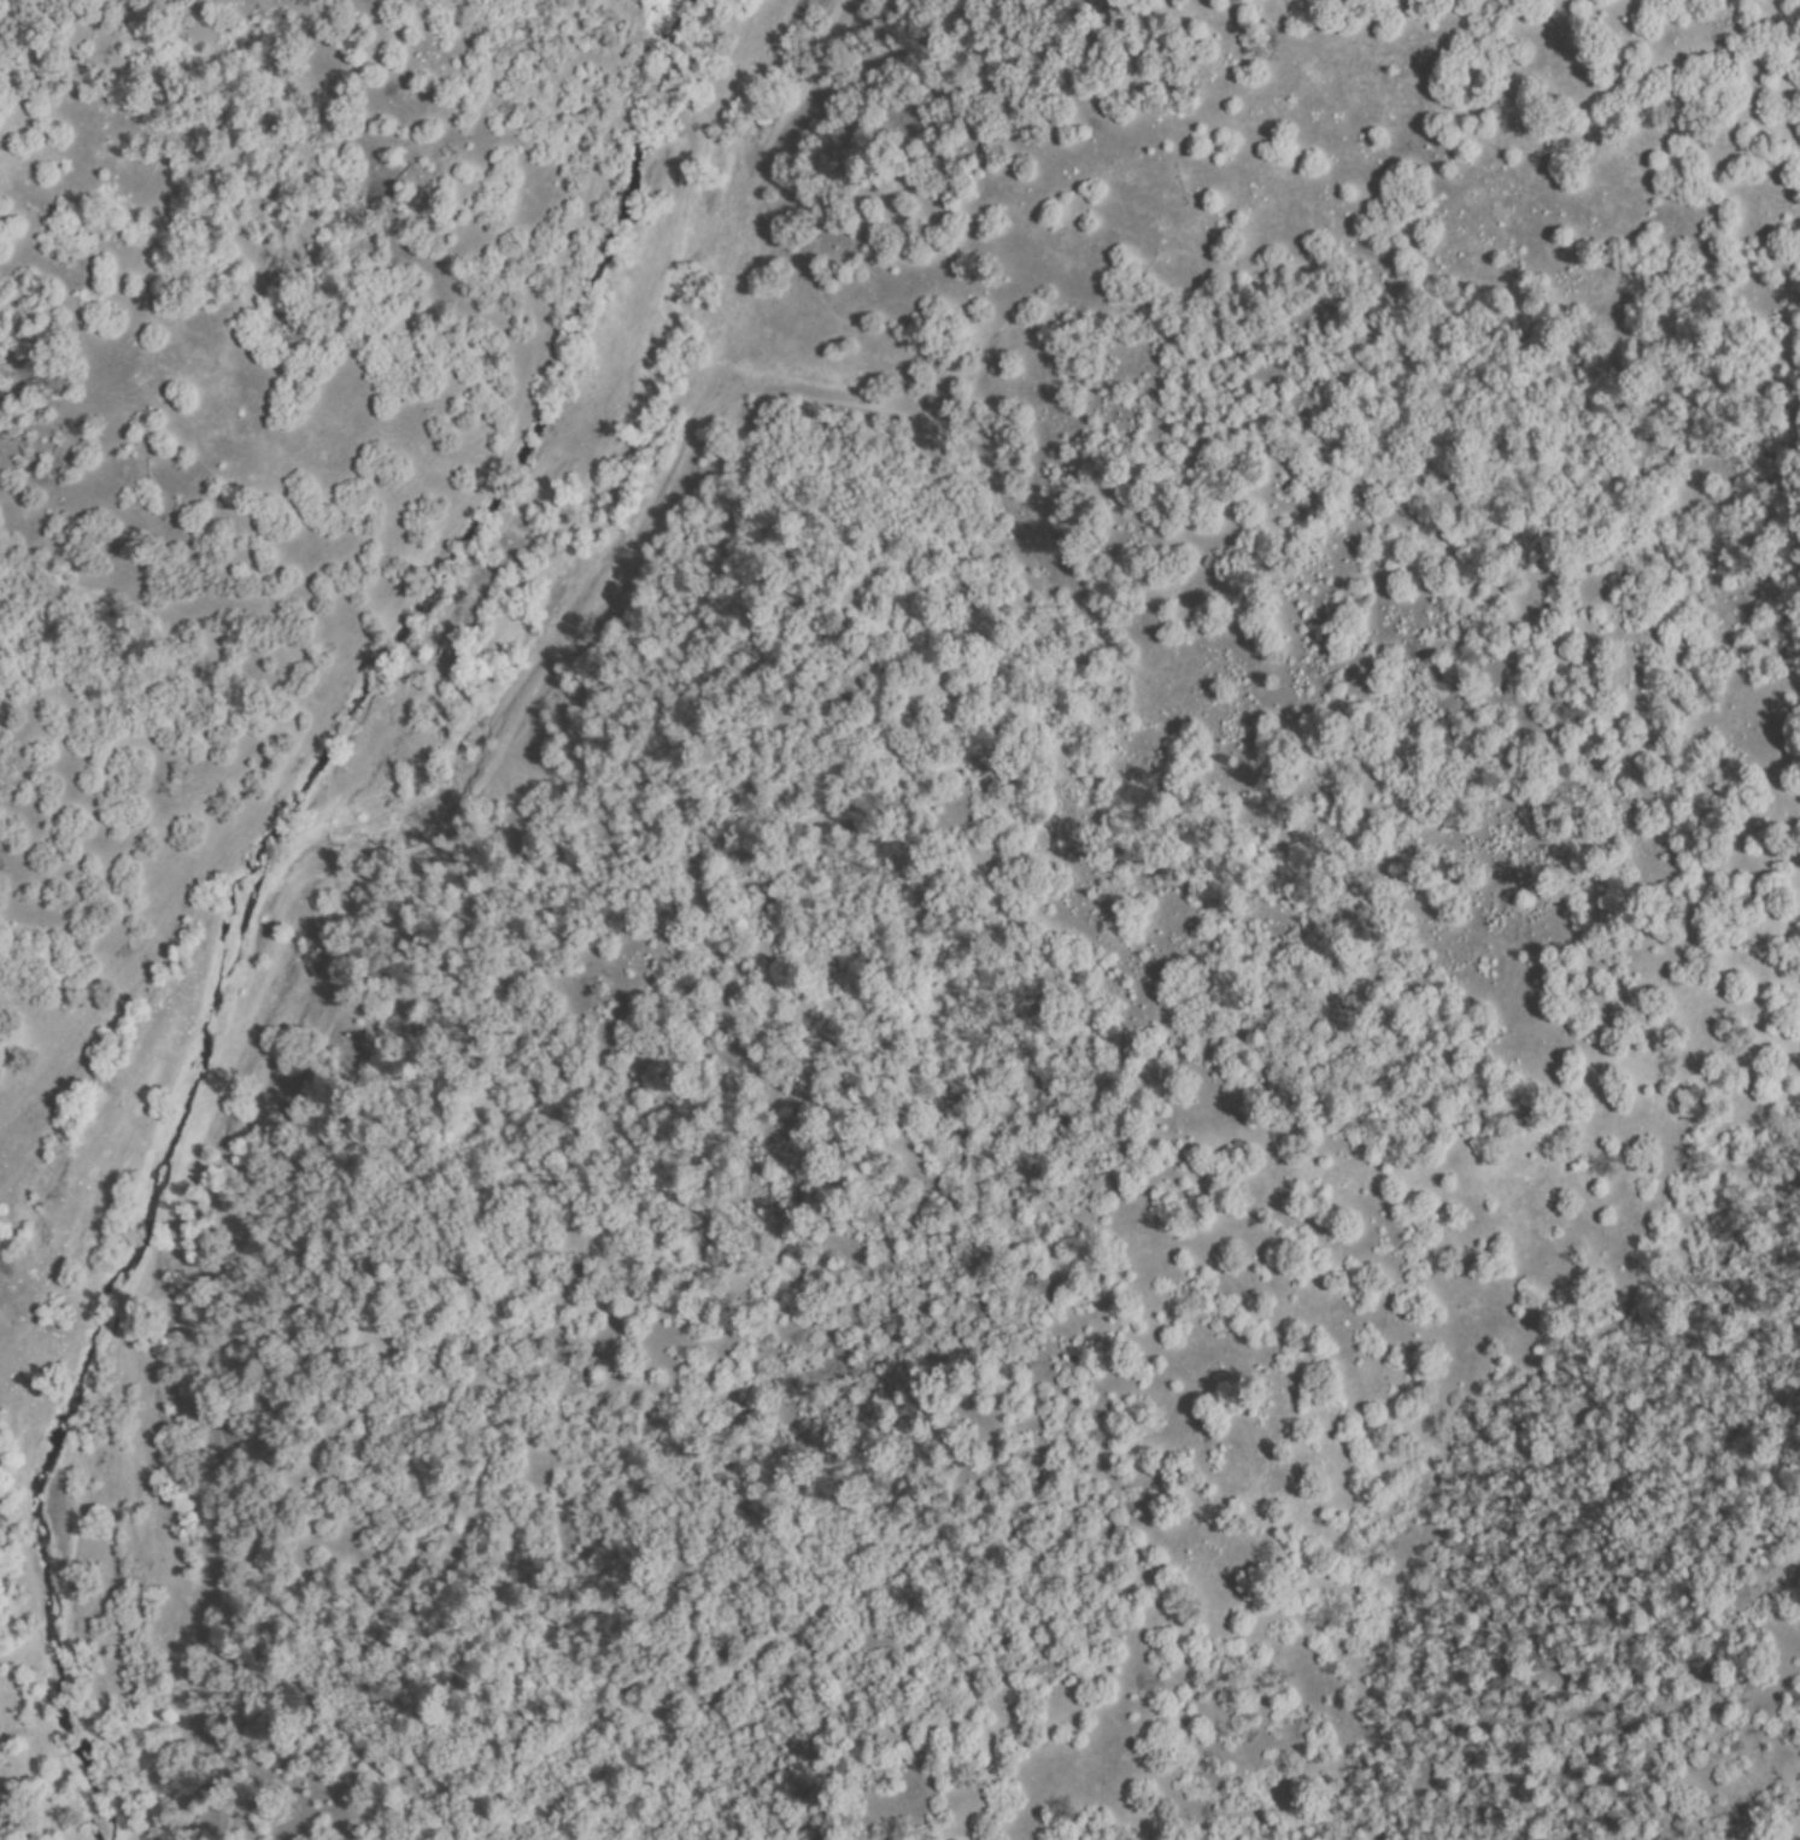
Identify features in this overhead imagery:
road: (294, 761)

